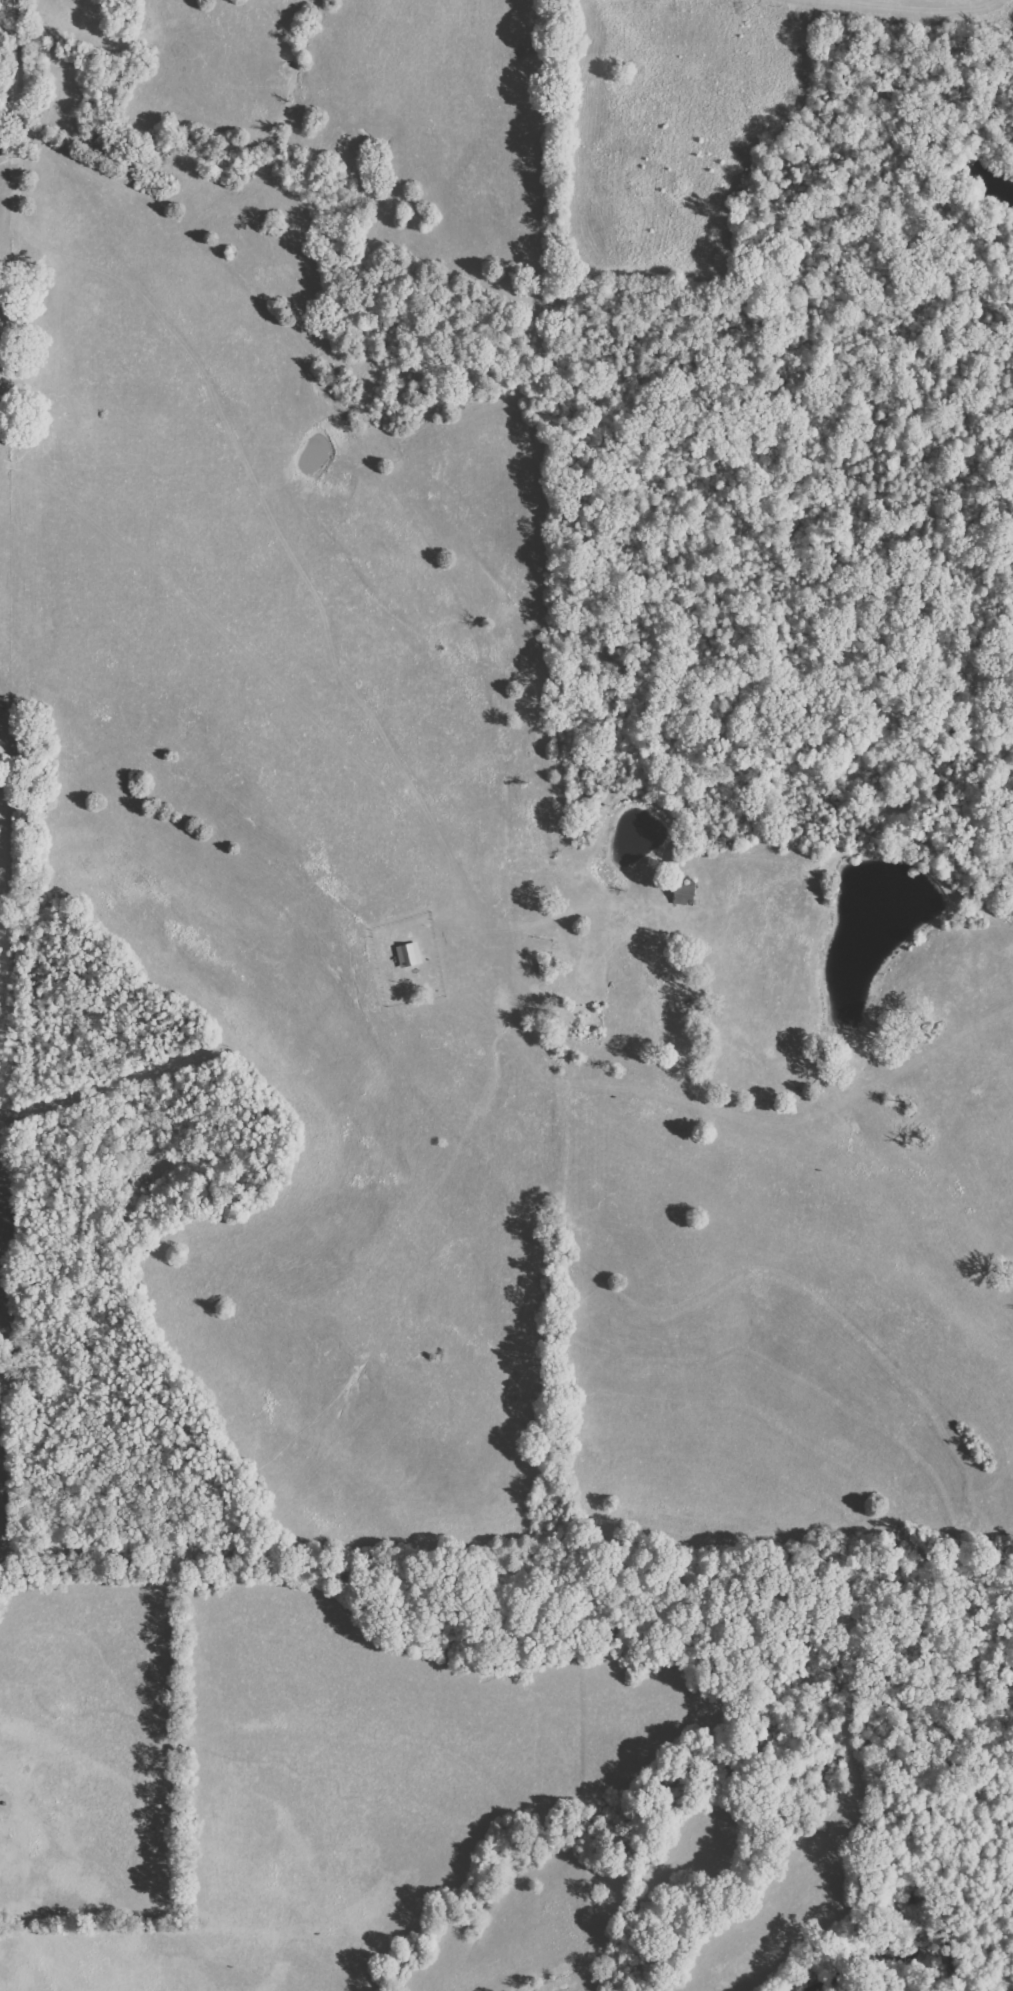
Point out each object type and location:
road: (22, 61)
building: (685, 895)
building: (409, 954)

